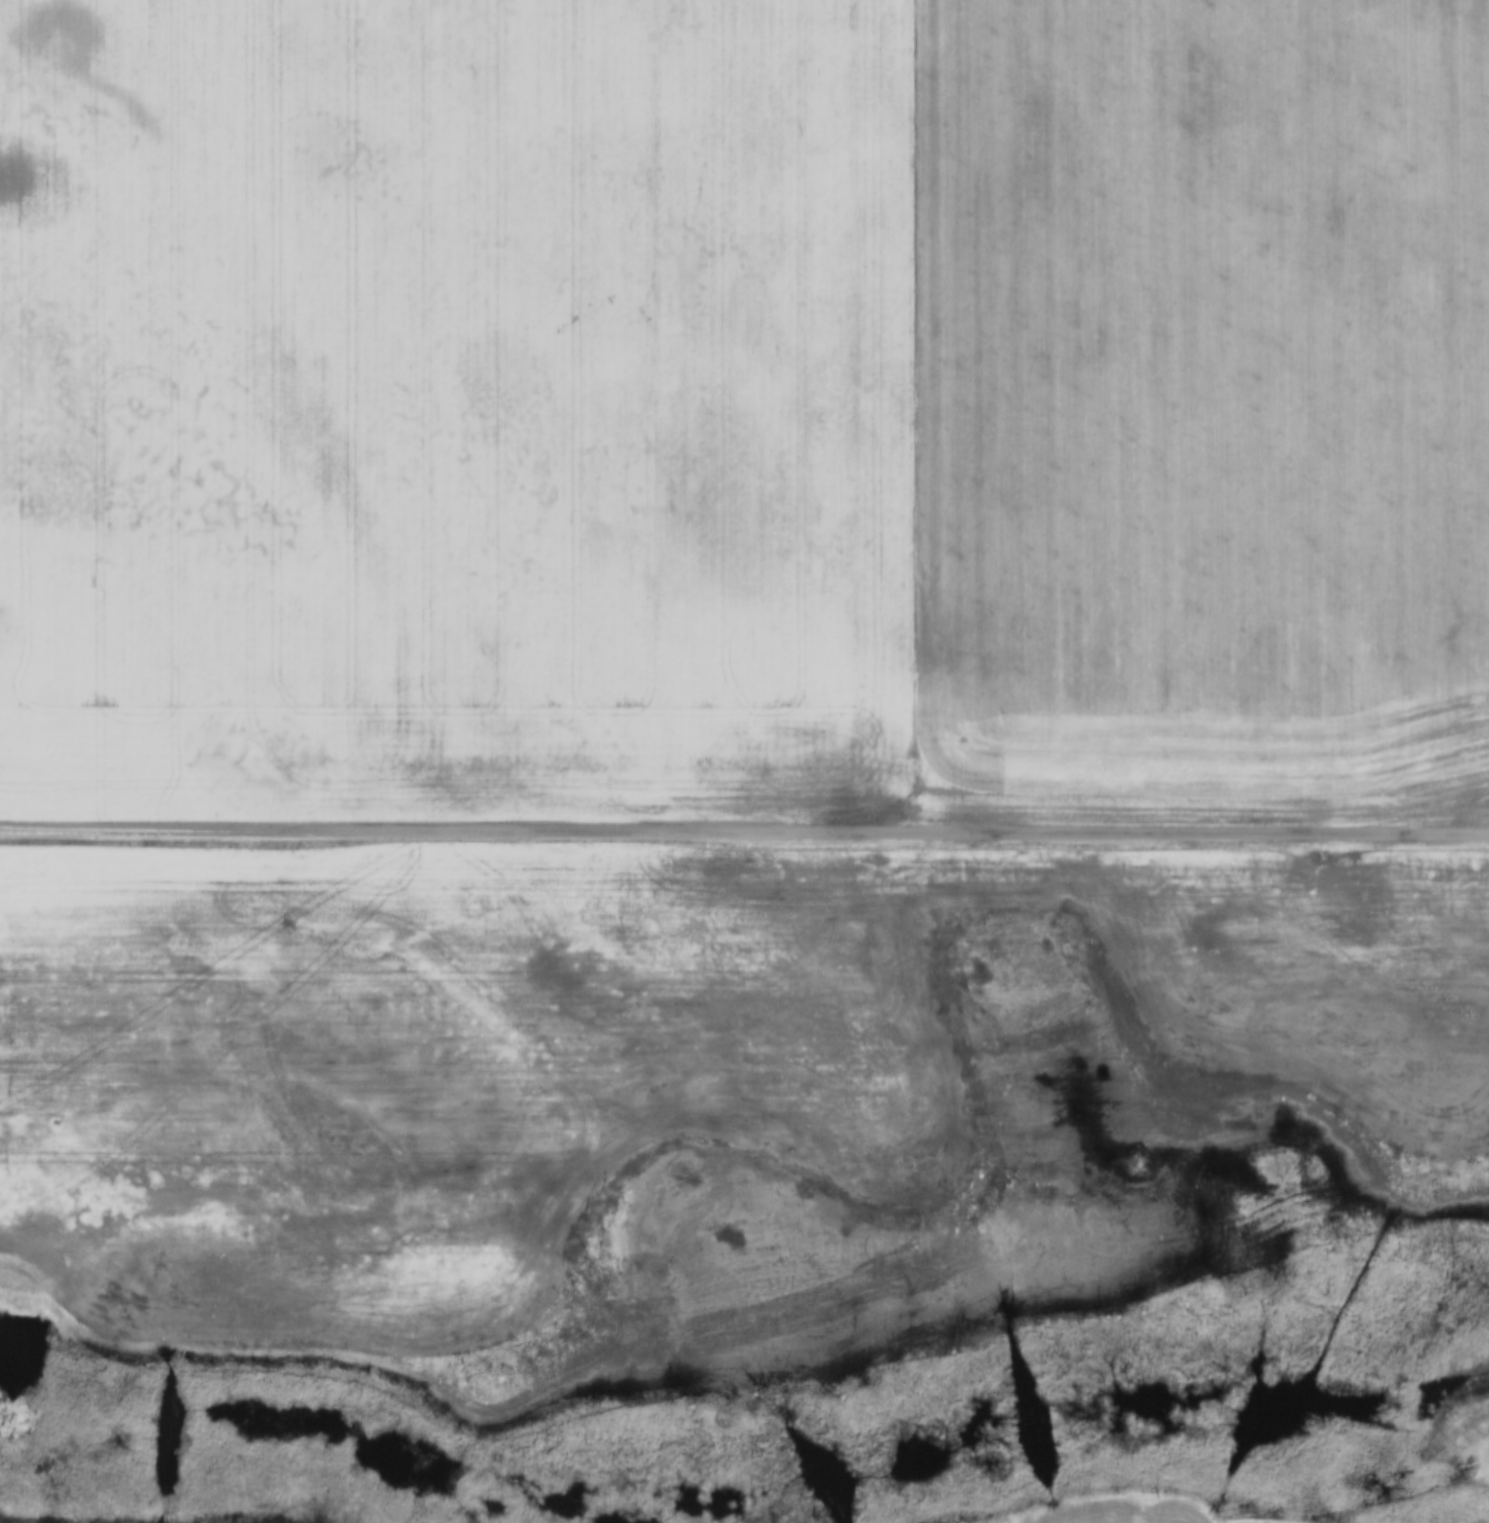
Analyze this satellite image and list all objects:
road: (744, 835)

